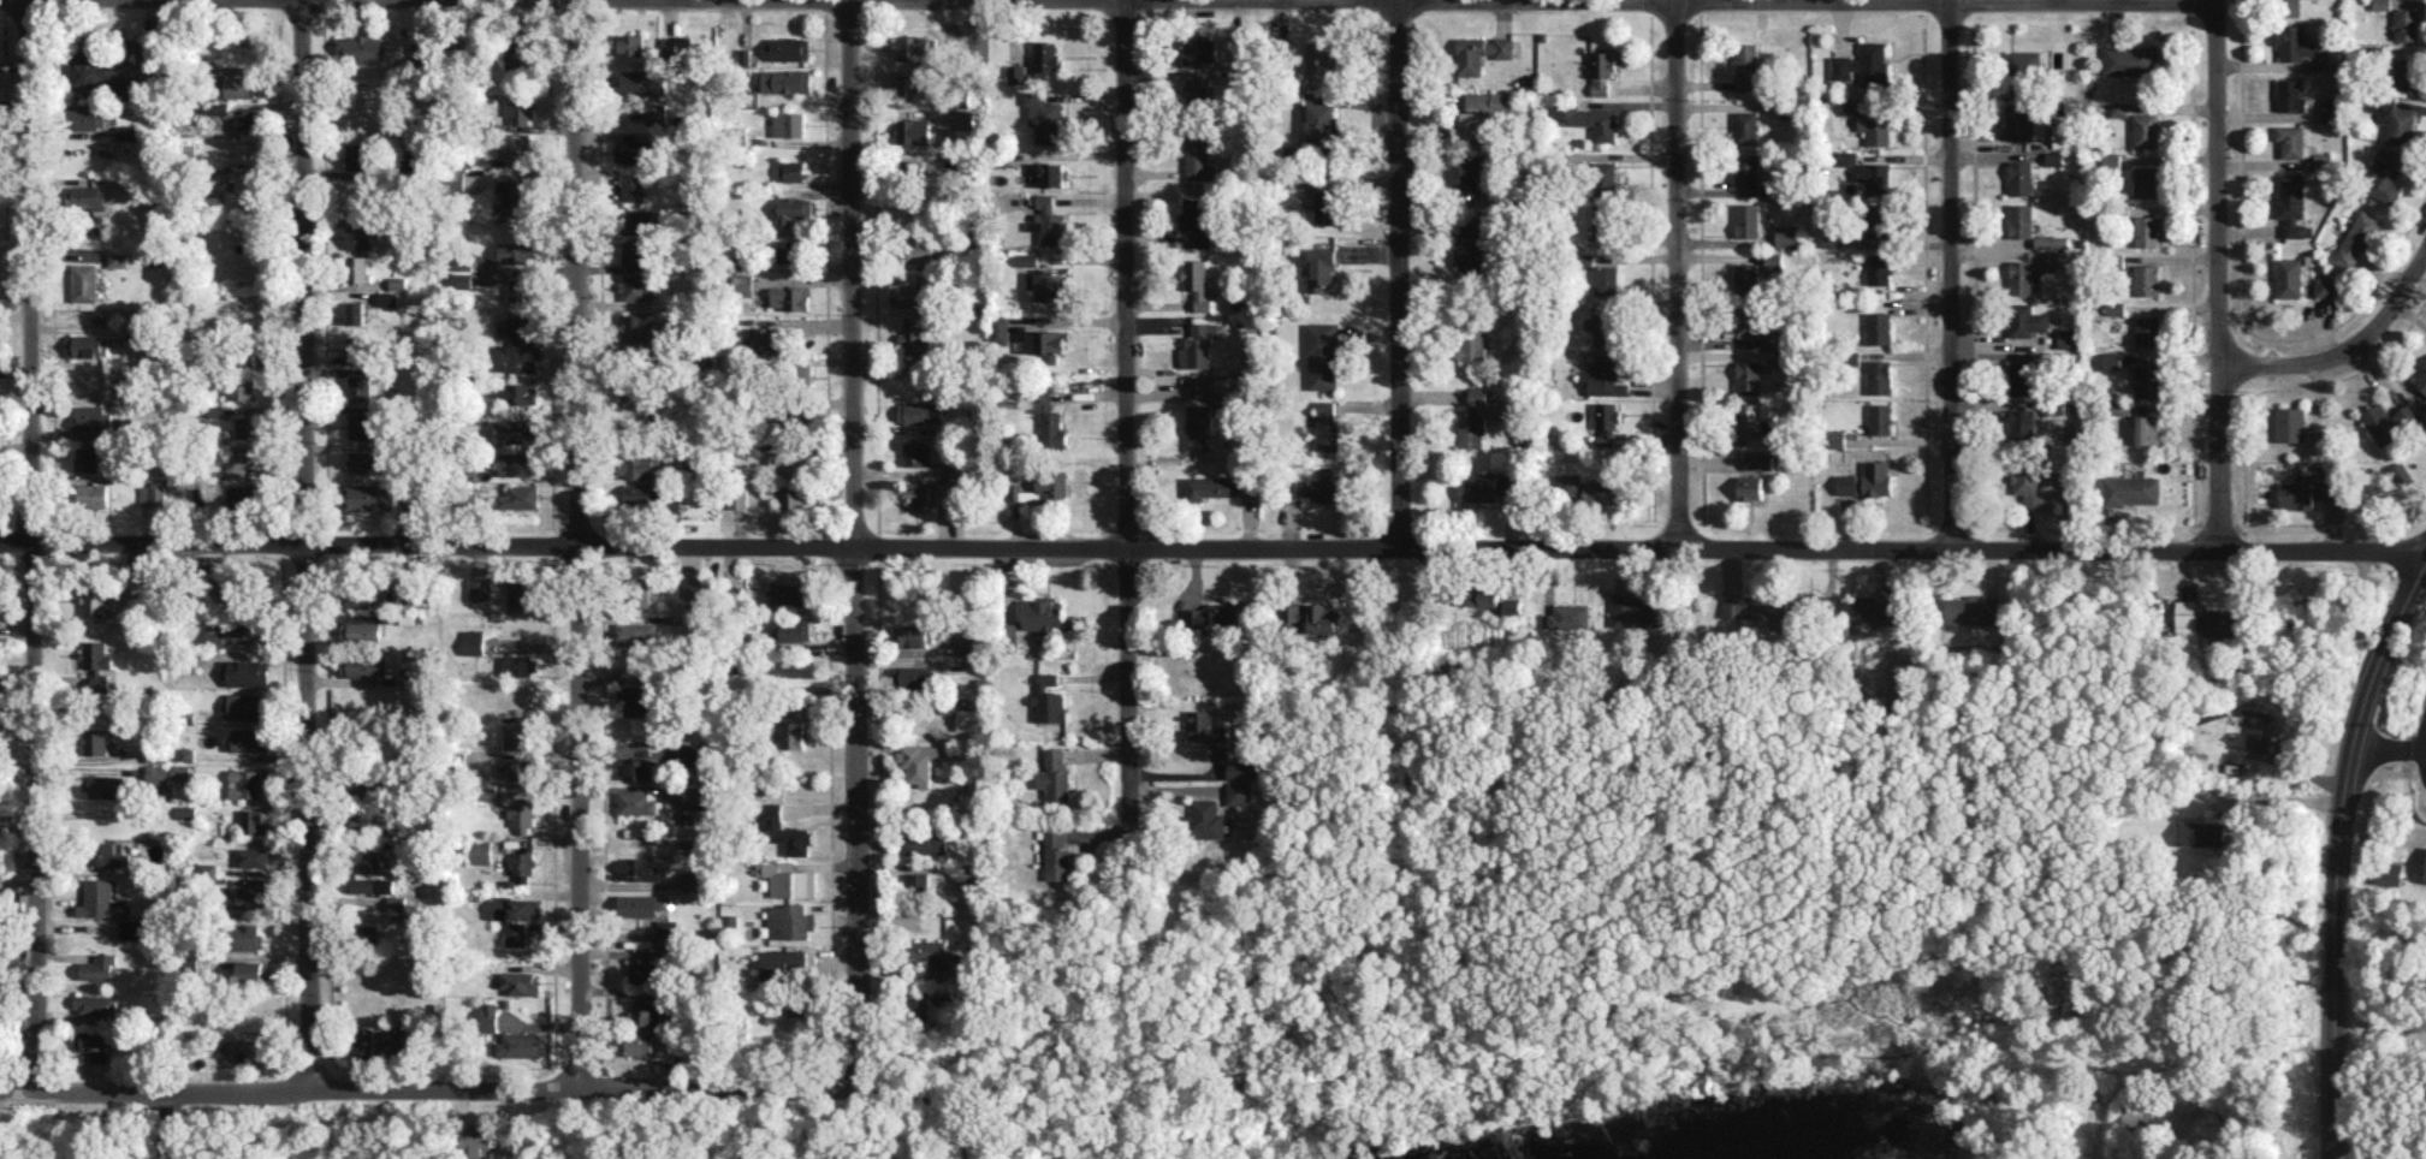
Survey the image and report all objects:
road: (1813, 0)
building: (2381, 4)
building: (2288, 7)
building: (2407, 23)
building: (2292, 42)
building: (629, 44)
building: (363, 47)
building: (913, 47)
building: (791, 48)
building: (417, 49)
building: (1200, 49)
building: (517, 50)
building: (1481, 52)
building: (148, 53)
building: (1046, 55)
building: (1321, 55)
building: (2131, 59)
building: (2330, 59)
building: (1864, 64)
building: (1748, 65)
building: (91, 70)
building: (1601, 71)
building: (2023, 71)
building: (1016, 73)
building: (2407, 73)
building: (643, 81)
building: (787, 81)
building: (908, 84)
building: (241, 85)
building: (1197, 94)
building: (2290, 95)
building: (1490, 101)
building: (214, 107)
building: (2332, 107)
building: (2119, 108)
building: (520, 109)
building: (1789, 111)
building: (656, 113)
building: (87, 115)
building: (248, 118)
building: (962, 118)
building: (1045, 118)
building: (1590, 118)
building: (1872, 119)
building: (2395, 119)
building: (209, 121)
building: (789, 123)
building: (1322, 123)
building: (2024, 123)
building: (1473, 124)
building: (1746, 126)
building: (914, 130)
building: (2146, 130)
building: (127, 131)
building: (2063, 136)
building: (2291, 139)
building: (515, 145)
building: (634, 150)
building: (1293, 151)
building: (1198, 155)
building: (357, 156)
building: (2323, 160)
building: (2111, 161)
building: (917, 167)
building: (1746, 168)
building: (791, 170)
building: (1049, 173)
building: (1472, 174)
building: (2384, 174)
building: (1605, 177)
building: (1874, 177)
building: (2021, 177)
building: (2146, 180)
building: (633, 186)
building: (1769, 189)
building: (89, 196)
building: (242, 196)
building: (515, 197)
building: (1045, 201)
building: (2291, 203)
building: (1327, 206)
building: (794, 208)
building: (1198, 219)
building: (1605, 220)
building: (1748, 220)
building: (1879, 220)
building: (2021, 220)
building: (636, 221)
building: (1051, 227)
building: (2147, 231)
building: (1787, 234)
building: (360, 236)
building: (2357, 238)
building: (2051, 240)
building: (789, 250)
building: (517, 251)
building: (634, 251)
building: (1473, 251)
building: (919, 256)
building: (119, 258)
building: (1028, 260)
building: (2060, 260)
building: (464, 261)
building: (1773, 261)
building: (1322, 267)
building: (358, 268)
building: (1879, 268)
road: (1398, 274)
road: (2218, 274)
road: (1677, 275)
road: (1952, 275)
building: (2024, 277)
building: (2289, 277)
building: (909, 278)
building: (1746, 278)
building: (1606, 279)
building: (2147, 279)
building: (462, 280)
building: (87, 281)
building: (398, 283)
building: (1198, 283)
building: (745, 284)
building: (1046, 285)
building: (2324, 285)
building: (634, 286)
building: (520, 290)
building: (909, 296)
building: (791, 297)
building: (387, 298)
building: (356, 311)
building: (1748, 319)
building: (2027, 319)
building: (1603, 327)
building: (1879, 327)
building: (1000, 328)
building: (2148, 329)
building: (634, 331)
building: (747, 338)
building: (765, 338)
building: (915, 338)
building: (2070, 338)
building: (1473, 343)
building: (522, 344)
building: (1048, 344)
building: (88, 345)
building: (1199, 345)
building: (361, 349)
road: (2344, 350)
building: (1322, 355)
building: (1787, 358)
building: (2111, 359)
building: (805, 374)
building: (1603, 375)
building: (1748, 376)
building: (1880, 376)
building: (2022, 378)
building: (2421, 378)
building: (2147, 380)
building: (241, 386)
building: (363, 387)
building: (518, 393)
building: (635, 394)
building: (918, 411)
building: (2424, 411)
building: (1607, 415)
building: (1049, 416)
road: (1126, 416)
building: (91, 417)
building: (1749, 418)
building: (1880, 418)
building: (652, 420)
building: (1473, 421)
building: (2389, 421)
building: (2290, 423)
building: (361, 426)
building: (1199, 426)
building: (1328, 426)
building: (2022, 426)
building: (245, 427)
building: (2147, 428)
building: (516, 430)
building: (1773, 430)
building: (1837, 438)
building: (1618, 440)
building: (917, 452)
building: (88, 458)
building: (239, 459)
building: (361, 460)
building: (790, 460)
building: (1760, 460)
building: (694, 462)
building: (518, 463)
building: (639, 465)
building: (1876, 477)
building: (1052, 483)
building: (1328, 483)
building: (1568, 483)
building: (1846, 483)
building: (1488, 486)
building: (1750, 486)
building: (2028, 486)
building: (1210, 487)
building: (1300, 488)
building: (2127, 489)
building: (2308, 491)
building: (1020, 492)
building: (1601, 492)
building: (153, 493)
building: (789, 493)
building: (931, 493)
building: (93, 494)
building: (641, 494)
building: (200, 495)
building: (368, 495)
building: (243, 497)
building: (520, 497)
building: (739, 499)
building: (414, 501)
road: (853, 541)
road: (308, 545)
road: (30, 546)
road: (577, 546)
road: (1212, 548)
building: (480, 588)
building: (693, 588)
building: (227, 589)
building: (639, 592)
building: (134, 593)
building: (789, 594)
building: (355, 595)
building: (521, 595)
building: (1481, 596)
building: (413, 598)
building: (96, 601)
building: (1513, 606)
building: (1756, 606)
building: (1971, 608)
building: (1869, 610)
building: (1641, 611)
building: (1216, 614)
building: (2187, 614)
building: (1048, 616)
building: (1313, 616)
building: (1570, 616)
building: (2224, 622)
building: (361, 630)
building: (793, 630)
building: (635, 631)
building: (233, 632)
building: (1010, 634)
building: (914, 635)
building: (473, 641)
building: (968, 644)
building: (96, 654)
building: (521, 665)
building: (364, 666)
building: (245, 671)
building: (918, 674)
building: (411, 677)
building: (100, 679)
building: (1050, 699)
building: (634, 700)
building: (248, 705)
building: (971, 718)
building: (1204, 725)
building: (2260, 729)
building: (793, 733)
building: (518, 736)
building: (247, 738)
building: (95, 741)
building: (158, 751)
building: (1221, 751)
building: (184, 753)
building: (693, 753)
building: (918, 761)
building: (1241, 768)
building: (515, 769)
building: (182, 771)
building: (158, 773)
building: (1055, 775)
building: (247, 781)
building: (103, 784)
building: (366, 785)
building: (1238, 791)
building: (695, 797)
road: (2280, 798)
building: (636, 803)
building: (186, 810)
building: (522, 812)
building: (1205, 819)
building: (253, 820)
building: (368, 821)
building: (783, 830)
building: (2202, 833)
road: (2380, 840)
building: (925, 843)
building: (481, 851)
building: (109, 854)
building: (1057, 854)
road: (2335, 855)
building: (253, 856)
building: (367, 861)
building: (522, 863)
building: (206, 868)
building: (639, 868)
building: (2388, 872)
building: (965, 873)
building: (693, 879)
building: (2425, 879)
building: (918, 880)
building: (789, 881)
building: (361, 884)
building: (248, 896)
building: (99, 898)
building: (396, 902)
building: (637, 905)
building: (517, 916)
building: (789, 921)
building: (131, 928)
building: (668, 929)
building: (368, 934)
building: (249, 937)
building: (931, 953)
building: (781, 961)
building: (97, 965)
building: (643, 969)
building: (253, 971)
building: (520, 982)
building: (95, 1003)
building: (796, 1008)
building: (918, 1009)
building: (646, 1012)
building: (488, 1016)
building: (188, 1035)
building: (89, 1039)
building: (397, 1039)
road: (2379, 1039)
building: (640, 1042)
building: (521, 1044)
building: (366, 1045)
building: (251, 1050)
road: (421, 1090)
building: (2136, 1111)
road: (167, 1125)
building: (476, 1140)
building: (509, 1143)

